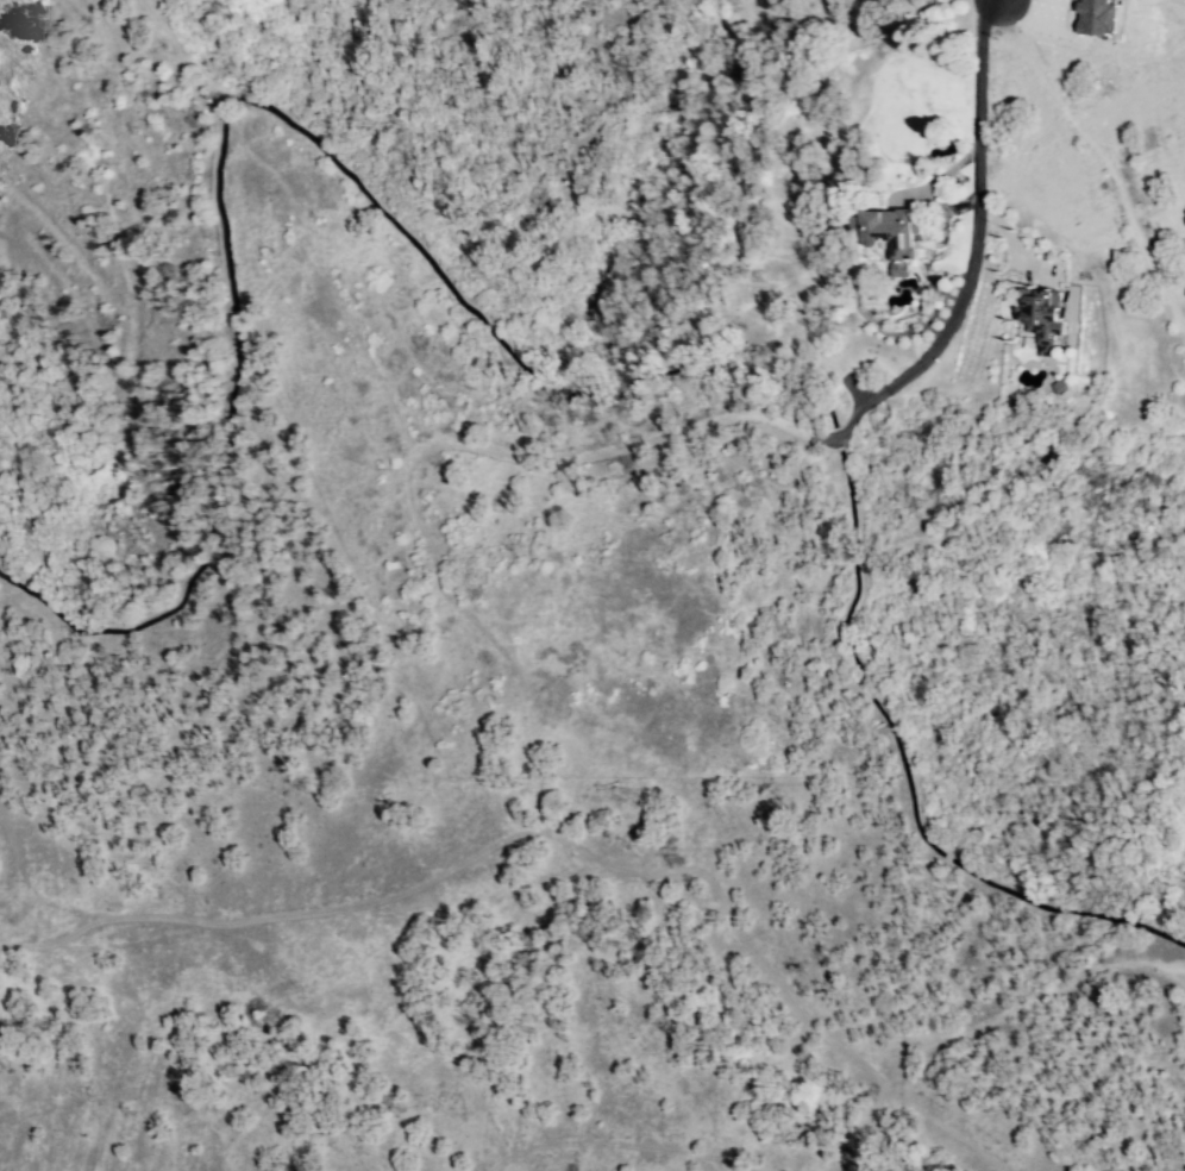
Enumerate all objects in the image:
building: (892, 236)
road: (973, 245)
building: (1042, 317)

